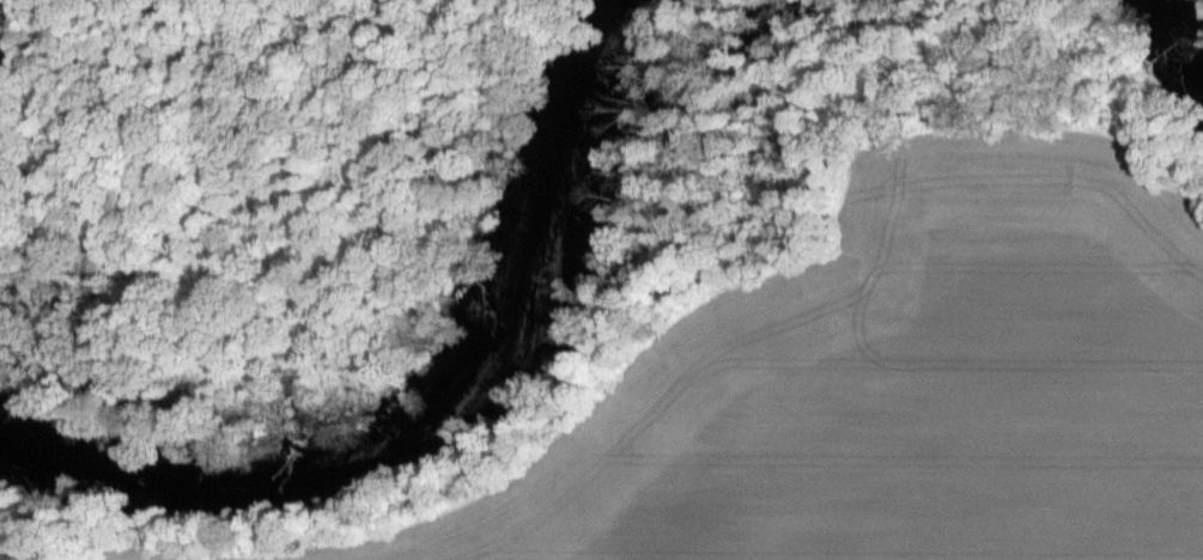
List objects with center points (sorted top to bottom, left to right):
river: (1180, 28)
river: (437, 403)

